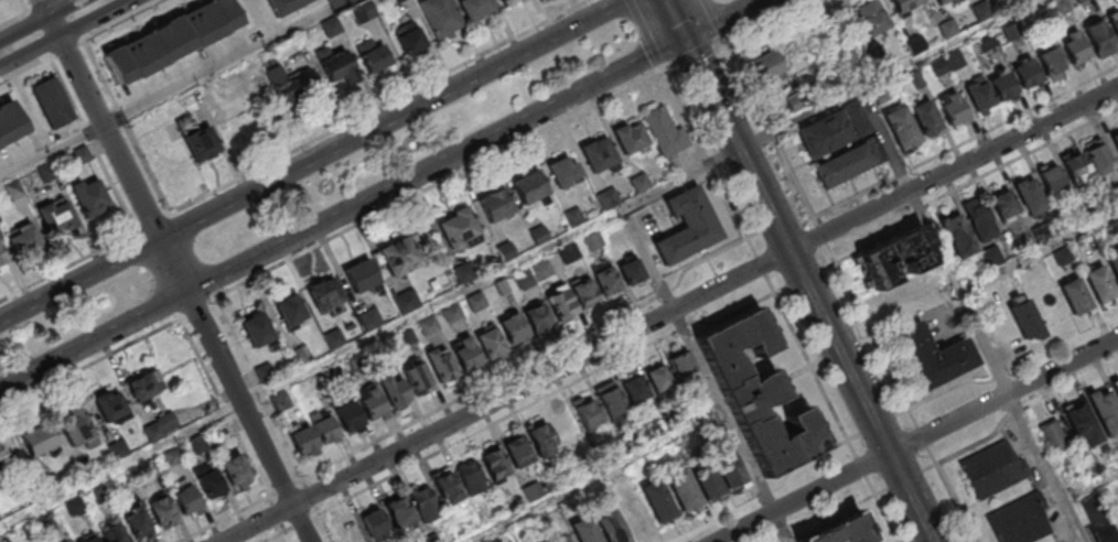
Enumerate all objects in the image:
building: (940, 1)
building: (1012, 1)
building: (1079, 1)
building: (506, 2)
building: (904, 4)
road: (23, 6)
road: (66, 6)
building: (286, 6)
building: (1060, 6)
road: (28, 12)
building: (453, 14)
road: (72, 15)
building: (872, 17)
road: (13, 18)
road: (714, 18)
road: (761, 18)
road: (675, 19)
road: (40, 20)
road: (32, 22)
building: (1114, 24)
road: (76, 28)
building: (948, 28)
road: (39, 33)
road: (66, 33)
road: (646, 33)
building: (409, 37)
building: (1098, 37)
traffic signals: (685, 39)
road: (43, 43)
building: (915, 43)
building: (1074, 46)
building: (136, 47)
road: (692, 51)
building: (374, 56)
building: (954, 58)
building: (1050, 59)
building: (765, 65)
building: (937, 66)
building: (342, 68)
road: (24, 69)
road: (99, 73)
road: (889, 74)
building: (1026, 74)
building: (916, 78)
building: (1001, 84)
road: (174, 87)
road: (65, 89)
building: (297, 91)
building: (880, 94)
building: (977, 95)
building: (52, 101)
building: (13, 108)
building: (952, 109)
road: (121, 116)
building: (926, 119)
building: (901, 128)
building: (832, 129)
building: (664, 130)
road: (88, 133)
building: (630, 138)
building: (1115, 139)
building: (198, 140)
building: (1, 152)
building: (83, 155)
building: (599, 155)
building: (1097, 156)
road: (313, 160)
road: (709, 160)
building: (848, 162)
building: (1074, 166)
road: (148, 170)
building: (565, 171)
building: (47, 172)
building: (1051, 178)
building: (643, 186)
road: (115, 187)
building: (530, 188)
road: (380, 194)
building: (1029, 195)
building: (90, 197)
building: (609, 202)
building: (496, 204)
building: (1003, 205)
road: (636, 207)
building: (56, 217)
building: (576, 219)
building: (979, 220)
building: (458, 228)
building: (692, 232)
building: (956, 235)
building: (541, 237)
building: (23, 240)
building: (595, 245)
road: (1040, 252)
building: (507, 253)
road: (191, 254)
building: (400, 254)
building: (572, 256)
building: (990, 257)
building: (2, 258)
building: (896, 260)
building: (1112, 262)
road: (761, 264)
building: (544, 270)
road: (174, 271)
road: (157, 273)
building: (466, 273)
building: (361, 277)
building: (634, 277)
building: (525, 279)
building: (1099, 284)
building: (610, 285)
building: (504, 288)
road: (713, 289)
road: (849, 289)
road: (809, 290)
building: (1075, 295)
building: (325, 296)
building: (588, 296)
building: (479, 302)
building: (560, 302)
building: (408, 303)
building: (290, 311)
building: (454, 314)
road: (972, 315)
building: (1024, 317)
building: (372, 322)
building: (540, 322)
building: (430, 327)
building: (257, 329)
building: (516, 334)
building: (336, 339)
building: (494, 347)
building: (389, 348)
building: (300, 358)
building: (471, 360)
building: (361, 362)
building: (936, 362)
road: (810, 365)
building: (682, 368)
road: (313, 369)
building: (445, 370)
building: (267, 375)
building: (335, 376)
building: (417, 377)
building: (658, 377)
building: (144, 386)
building: (311, 386)
building: (1115, 386)
building: (634, 387)
road: (257, 389)
building: (760, 391)
road: (1003, 395)
building: (398, 397)
building: (611, 399)
building: (283, 403)
building: (110, 406)
road: (223, 406)
building: (376, 410)
building: (1104, 410)
building: (587, 412)
building: (351, 421)
road: (731, 425)
building: (1082, 425)
building: (565, 426)
building: (76, 427)
building: (327, 435)
building: (1053, 436)
building: (541, 440)
building: (37, 441)
building: (305, 445)
building: (517, 451)
building: (493, 463)
building: (728, 466)
road: (861, 466)
building: (236, 470)
building: (0, 473)
building: (996, 473)
building: (469, 476)
road: (601, 478)
building: (208, 481)
building: (708, 481)
building: (445, 486)
road: (1092, 488)
building: (684, 491)
road: (310, 495)
road: (803, 497)
building: (186, 500)
building: (658, 502)
building: (424, 503)
road: (882, 510)
building: (162, 511)
road: (277, 512)
building: (400, 513)
road: (265, 518)
building: (1116, 520)
building: (1023, 521)
building: (138, 523)
road: (323, 523)
building: (375, 524)
building: (613, 528)
building: (845, 530)
building: (348, 531)
road: (286, 532)
building: (588, 533)
building: (1104, 533)
building: (107, 534)
building: (562, 538)

